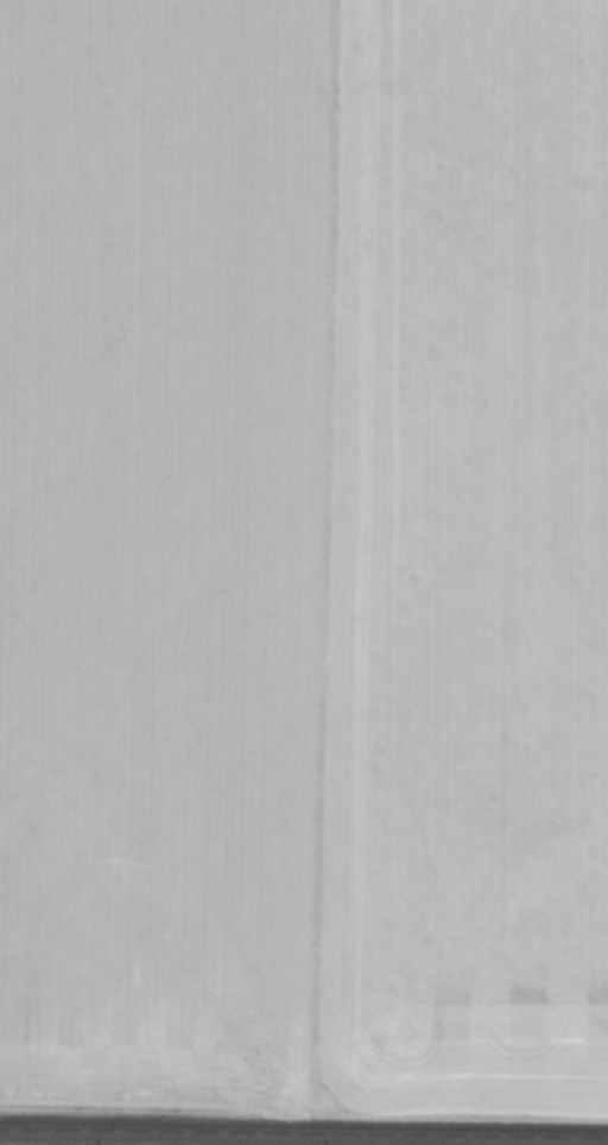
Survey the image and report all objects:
road: (304, 1133)

